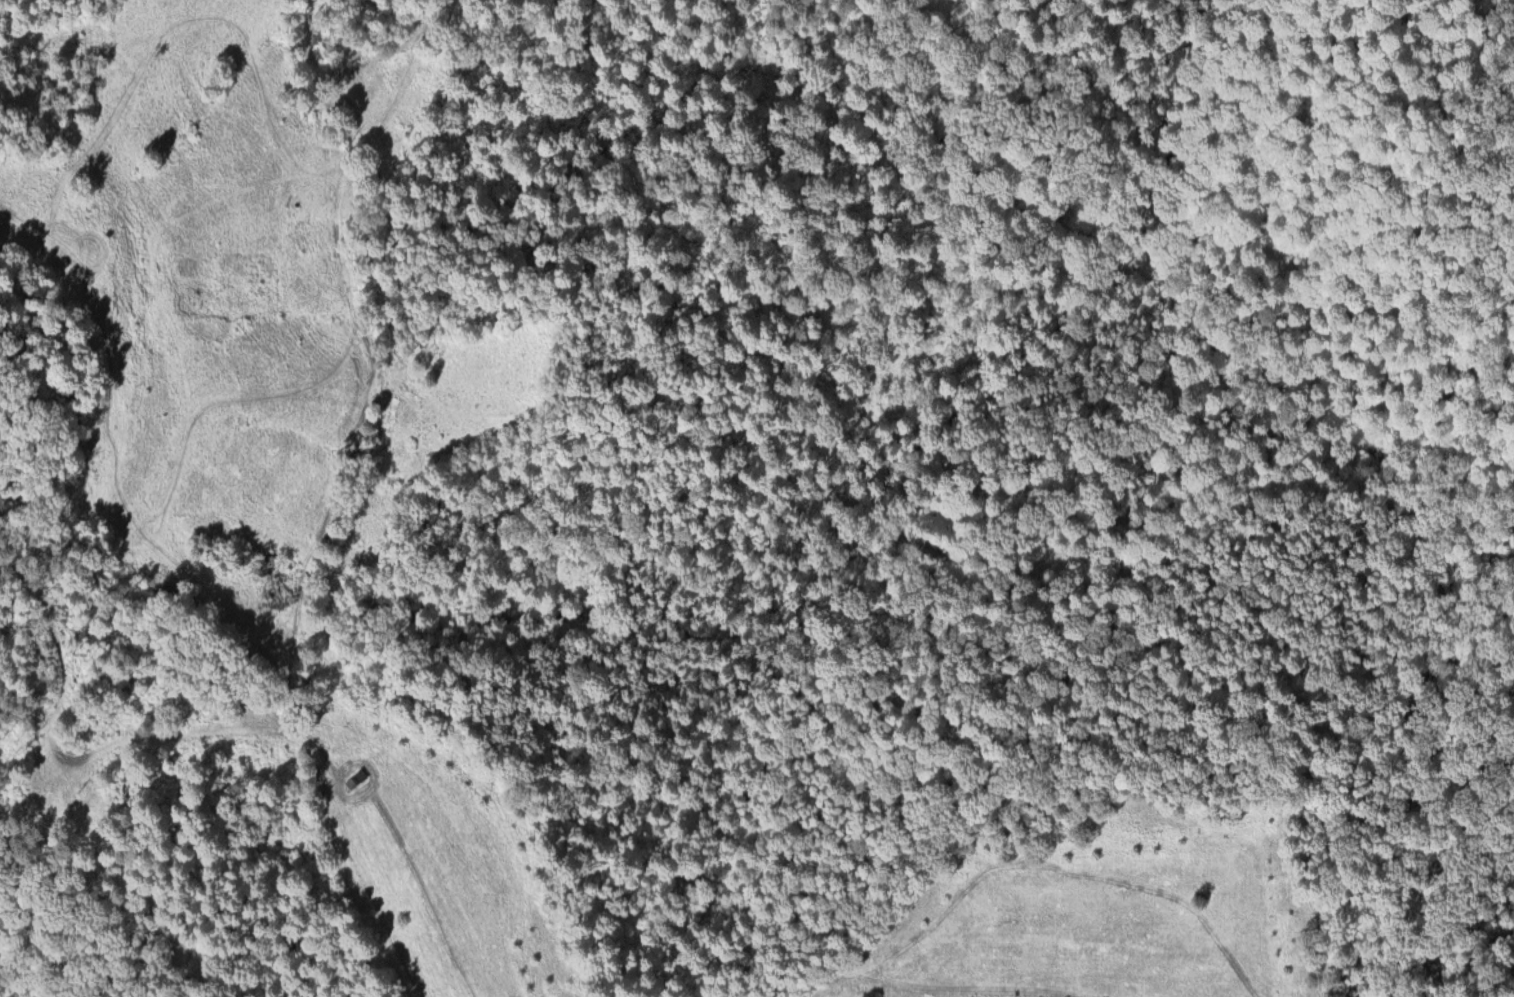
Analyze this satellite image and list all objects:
road: (354, 67)
road: (361, 372)
road: (228, 726)
road: (889, 967)

